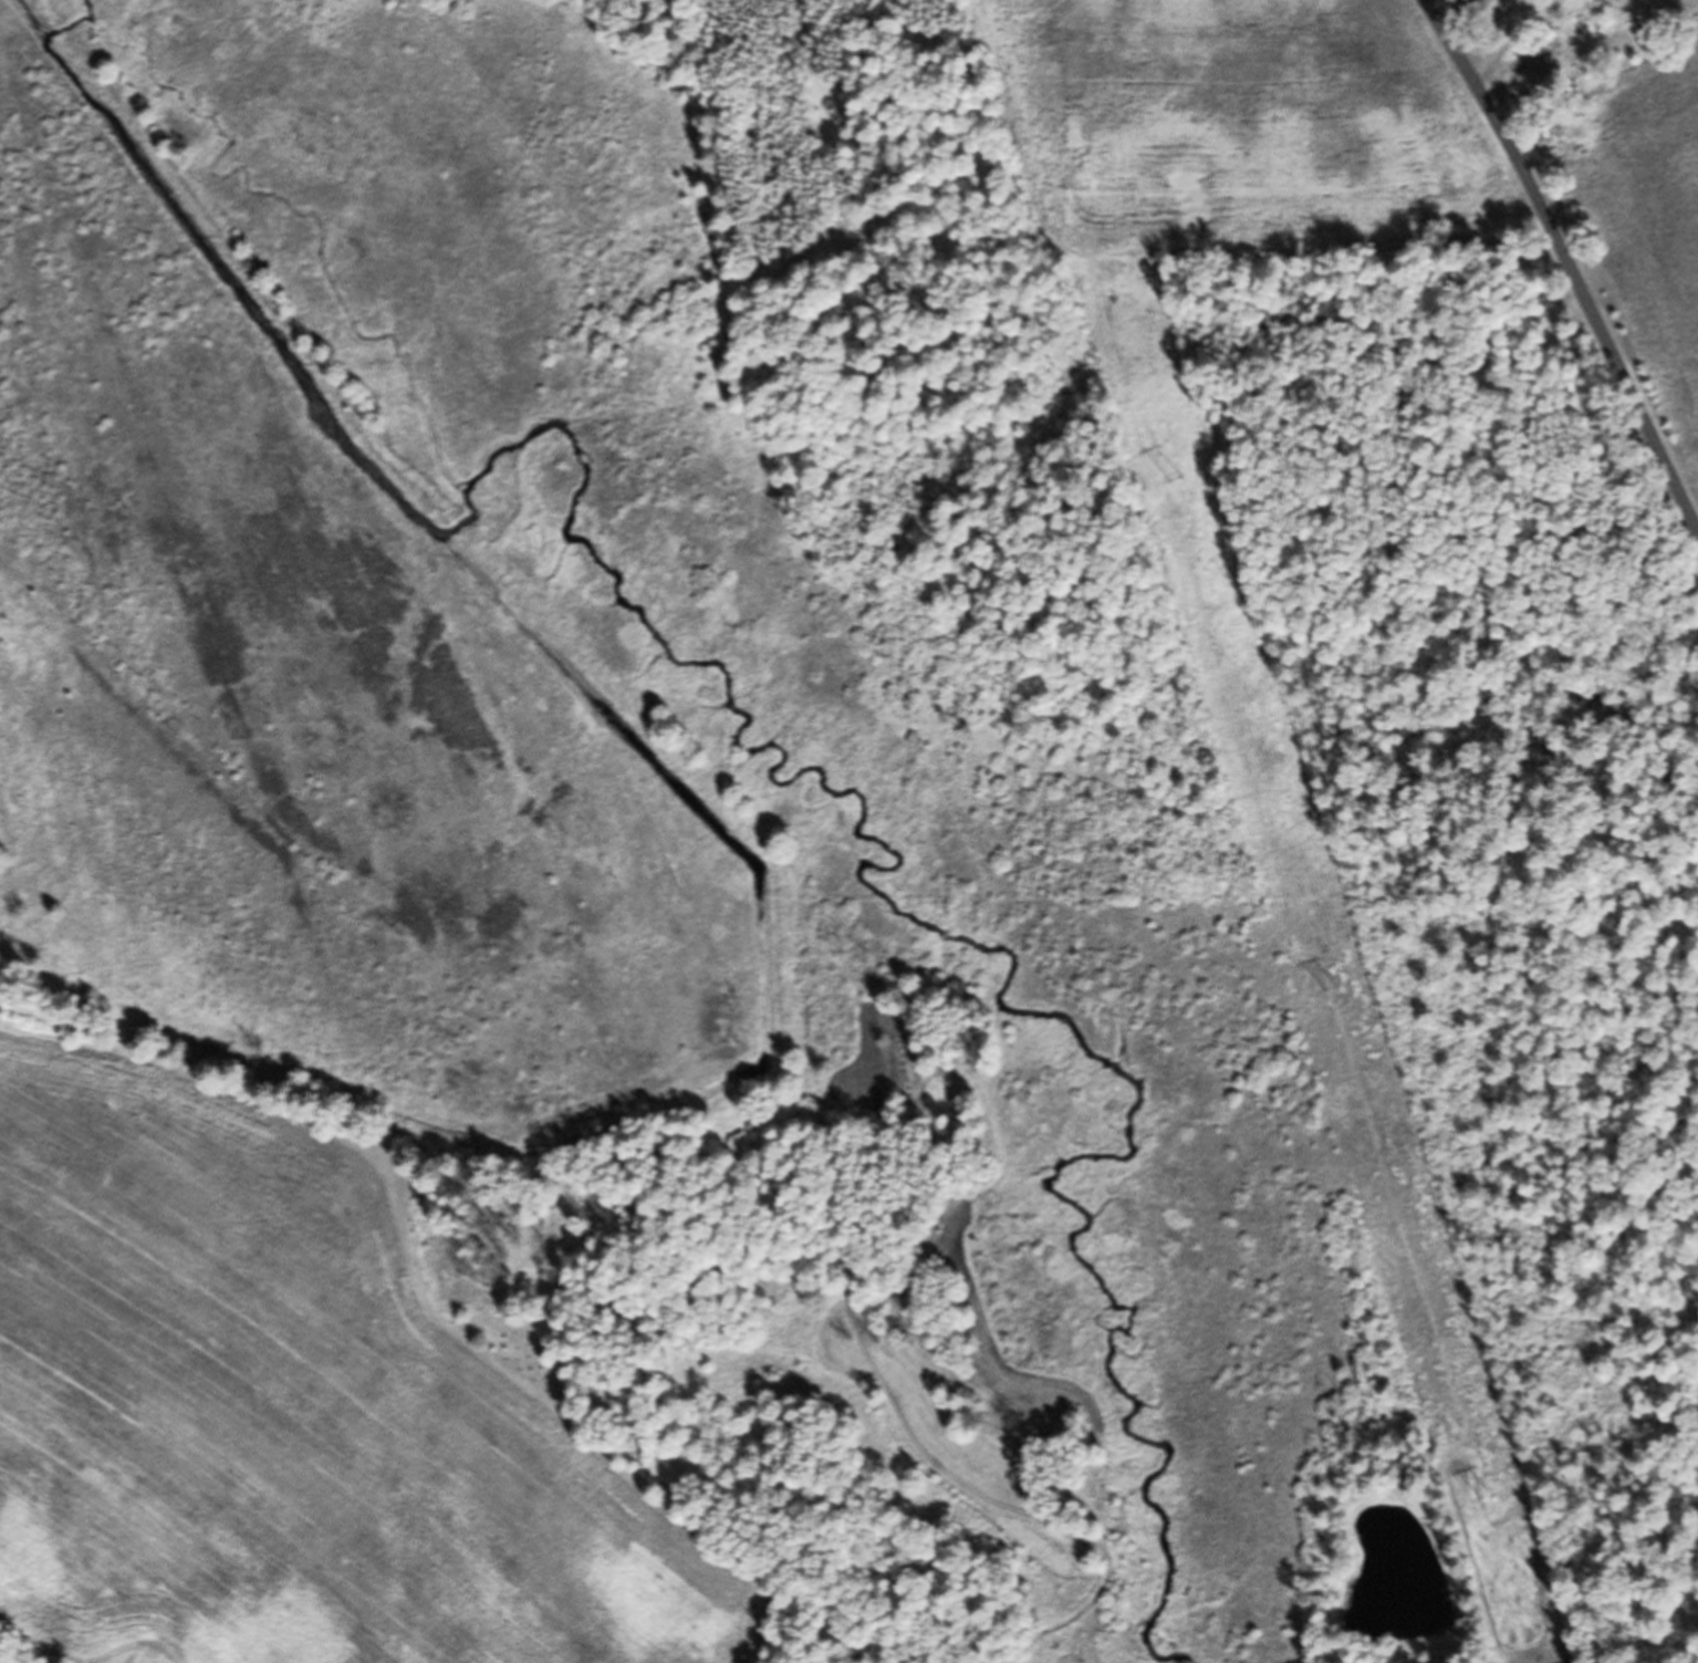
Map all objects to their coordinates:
road: (1581, 241)
power tower: (1185, 488)
power tower: (1329, 996)
power tower: (1465, 1504)

